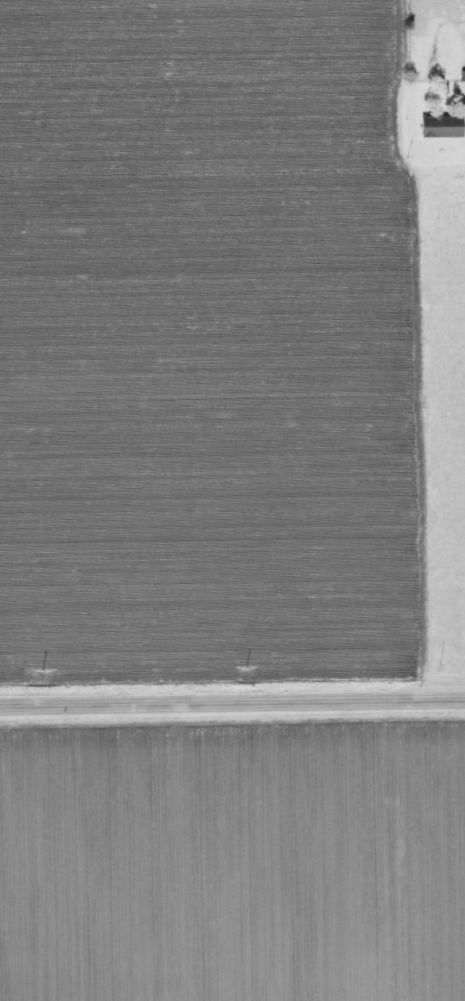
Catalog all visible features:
building: (443, 125)
road: (232, 702)

